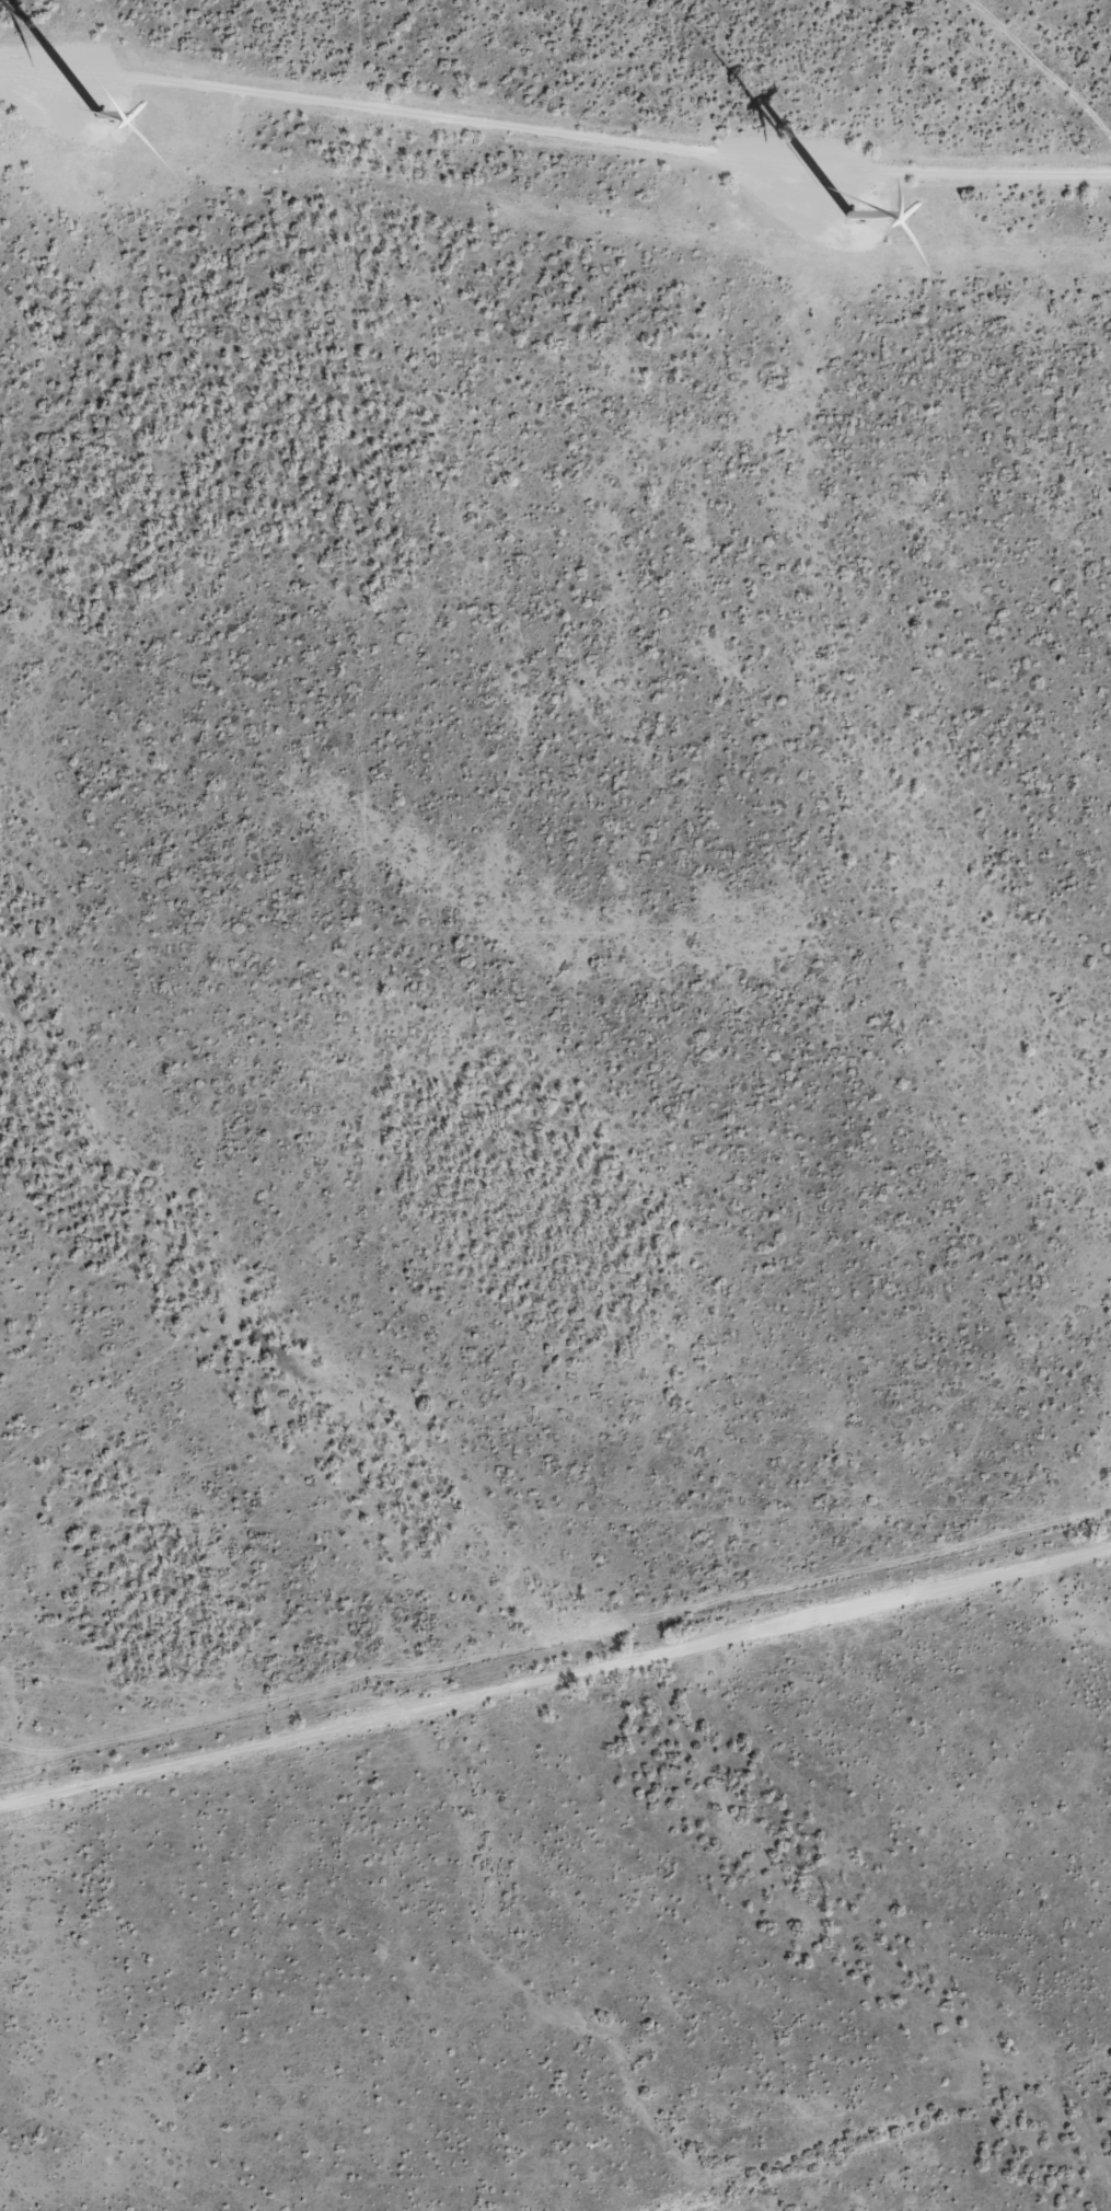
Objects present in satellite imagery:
road: (1023, 85)
wind turbine: (88, 139)
wind turbine: (859, 207)
road: (555, 1697)

